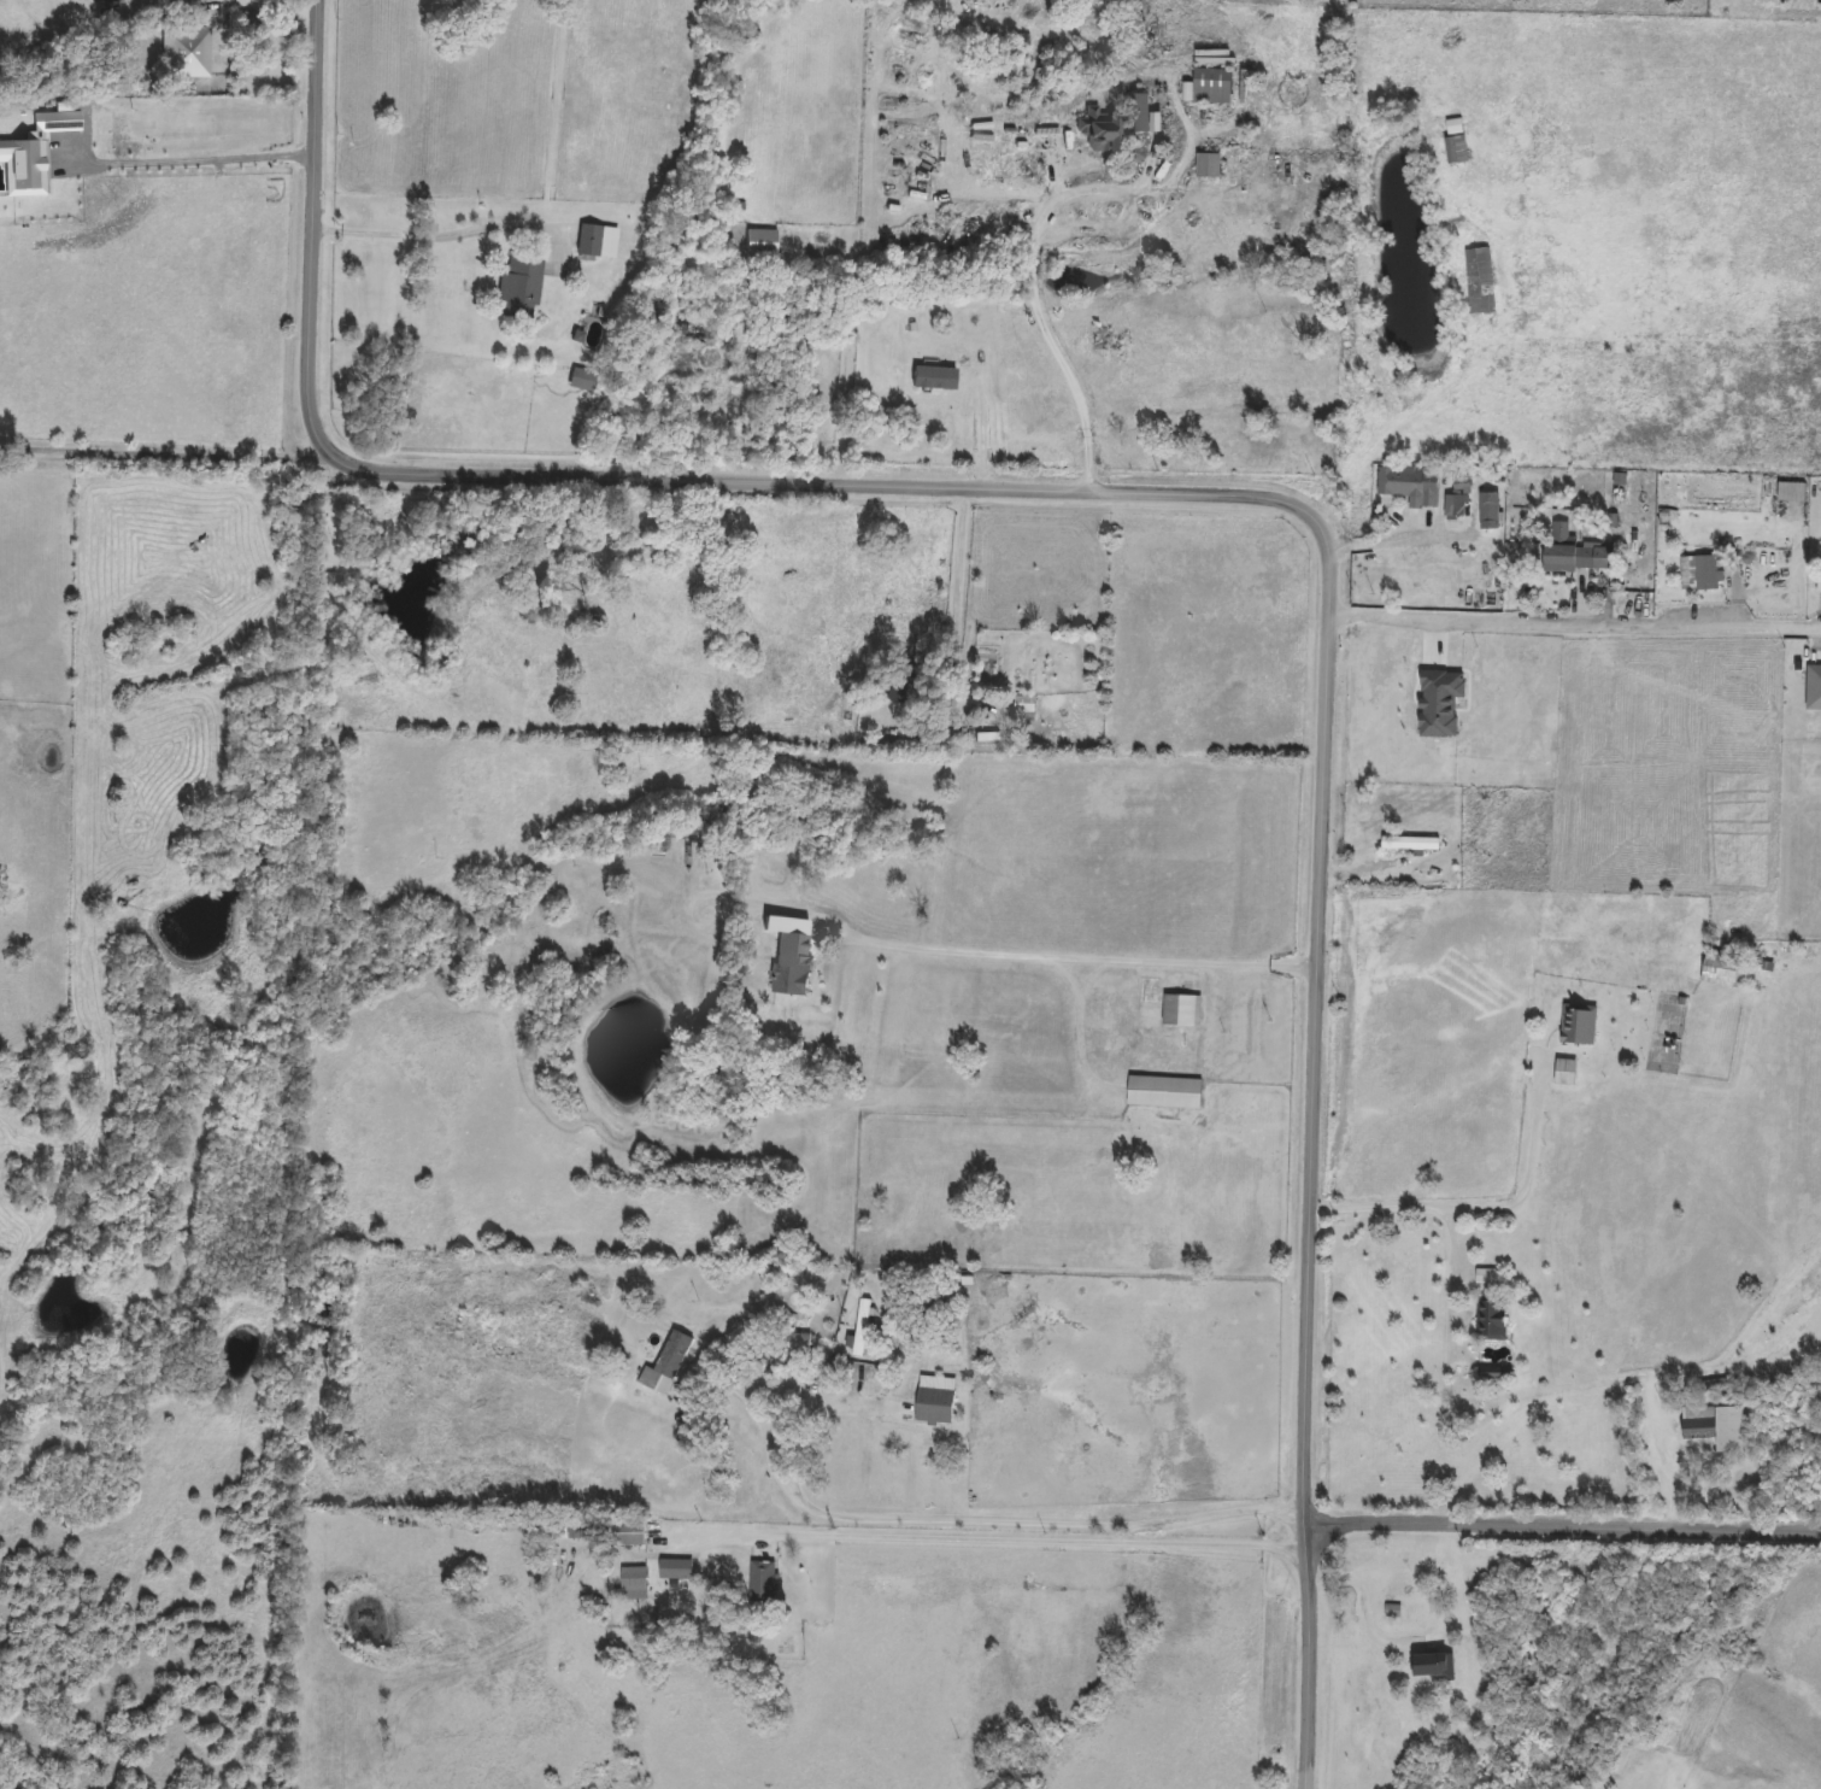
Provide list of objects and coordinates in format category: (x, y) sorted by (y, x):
building: (186, 53)
building: (1217, 86)
building: (1112, 127)
building: (1457, 143)
road: (186, 159)
road: (450, 236)
building: (599, 242)
building: (763, 244)
building: (1481, 282)
building: (522, 287)
road: (1035, 312)
building: (583, 379)
road: (166, 457)
building: (1412, 485)
building: (1794, 493)
road: (1230, 498)
building: (1458, 503)
road: (1398, 536)
building: (1578, 553)
building: (1711, 574)
road: (950, 579)
road: (1579, 623)
road: (800, 658)
building: (1443, 705)
building: (1026, 706)
building: (1414, 844)
road: (1576, 879)
road: (1086, 957)
building: (1729, 972)
building: (792, 975)
building: (1173, 1004)
building: (1168, 1093)
road: (1531, 1136)
road: (1422, 1218)
building: (1498, 1321)
road: (1820, 1332)
building: (798, 1344)
building: (668, 1365)
building: (938, 1401)
building: (1717, 1427)
building: (728, 1477)
road: (1009, 1524)
road: (1563, 1535)
road: (992, 1543)
building: (677, 1570)
building: (764, 1582)
building: (635, 1584)
road: (1369, 1597)
building: (1402, 1602)

